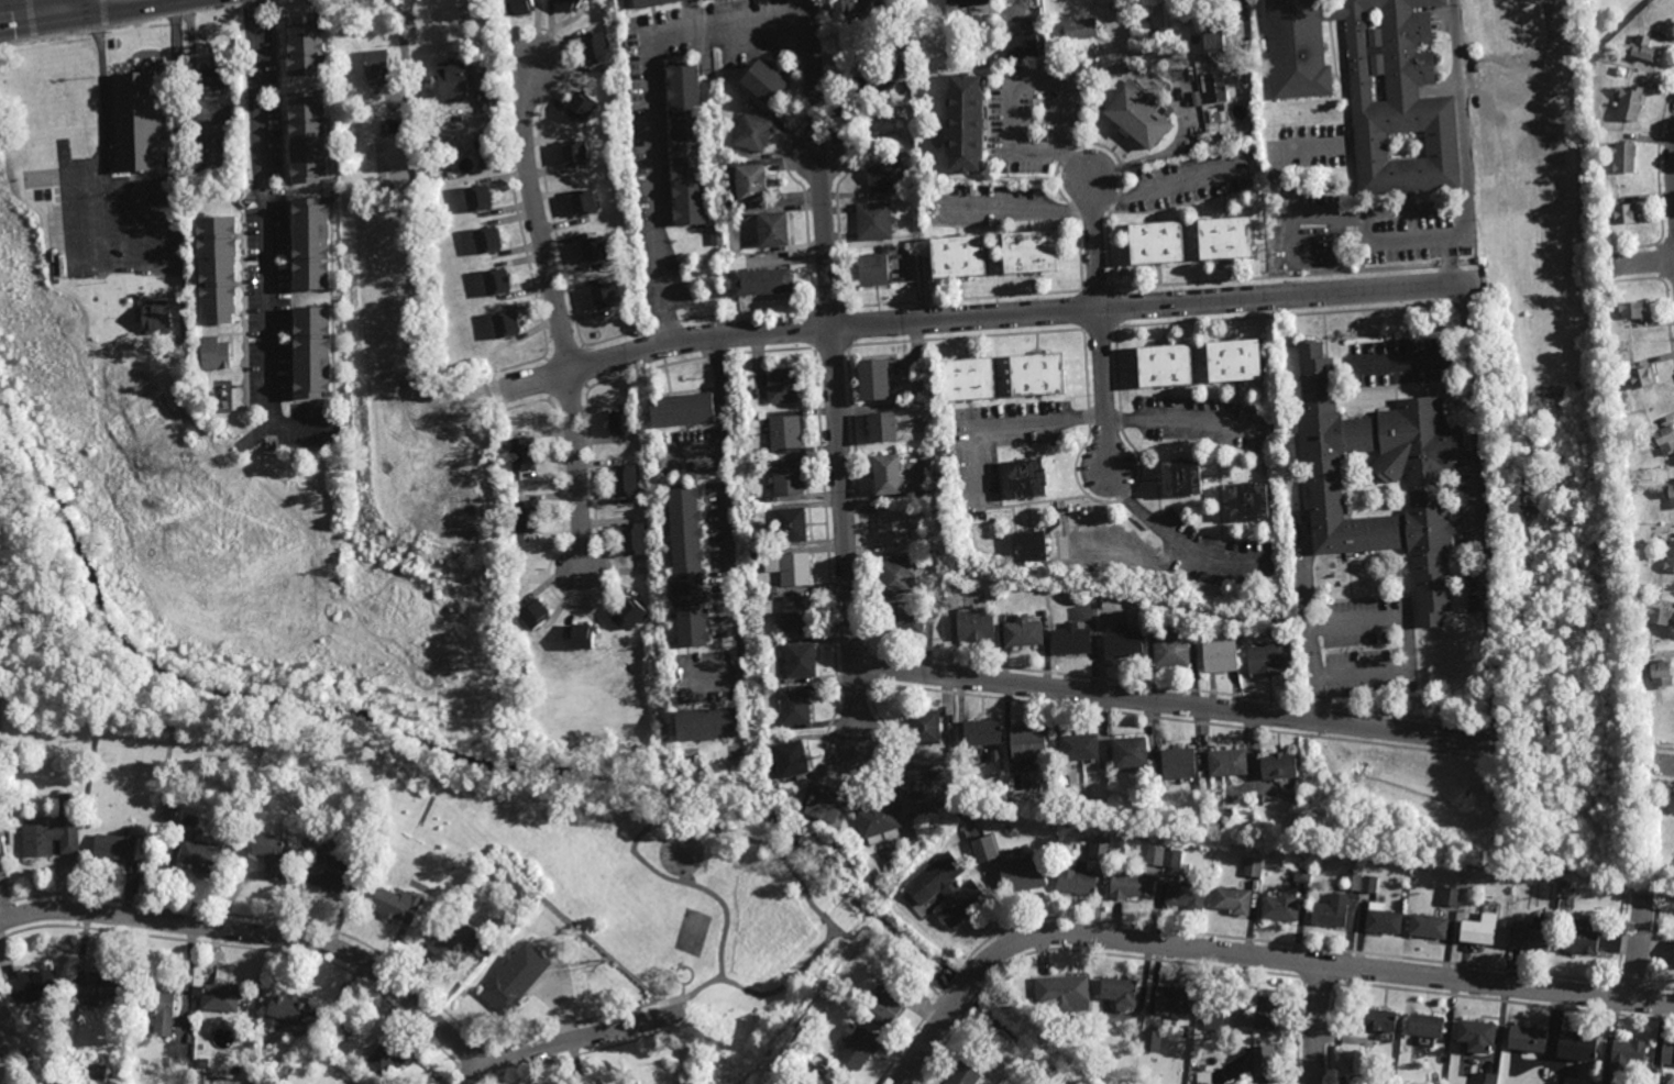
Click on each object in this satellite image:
building: (851, 1)
building: (1103, 2)
road: (95, 3)
building: (647, 3)
building: (966, 3)
road: (65, 4)
road: (67, 4)
building: (564, 4)
building: (517, 8)
road: (1243, 8)
traffic signals: (67, 9)
road: (33, 13)
building: (1515, 21)
building: (1079, 27)
building: (1154, 35)
building: (1213, 38)
building: (1021, 43)
building: (304, 47)
building: (592, 48)
building: (1643, 49)
building: (376, 65)
road: (1532, 66)
building: (213, 78)
building: (487, 78)
road: (889, 79)
road: (1037, 79)
building: (449, 80)
building: (761, 84)
building: (1368, 85)
building: (1213, 86)
road: (1461, 102)
building: (59, 106)
building: (579, 106)
building: (1627, 106)
building: (895, 109)
road: (654, 110)
building: (1219, 112)
building: (1135, 118)
building: (136, 122)
building: (959, 122)
building: (394, 125)
building: (751, 134)
building: (305, 137)
building: (1225, 137)
building: (1212, 139)
building: (1203, 140)
building: (684, 143)
road: (1163, 152)
building: (572, 154)
building: (1621, 159)
road: (817, 163)
building: (883, 175)
road: (140, 180)
building: (748, 185)
building: (1339, 185)
road: (1164, 187)
road: (1288, 191)
building: (476, 199)
building: (581, 203)
road: (1016, 208)
road: (1358, 213)
building: (1623, 214)
building: (872, 221)
road: (1465, 223)
road: (103, 224)
road: (143, 224)
building: (770, 229)
building: (716, 234)
road: (412, 235)
building: (1222, 237)
building: (484, 239)
road: (1289, 239)
road: (263, 241)
building: (1150, 242)
building: (308, 245)
road: (1449, 246)
building: (591, 251)
building: (1026, 252)
road: (1616, 255)
building: (955, 256)
road: (1644, 261)
road: (106, 268)
road: (1449, 268)
road: (1548, 269)
building: (869, 270)
building: (214, 272)
building: (759, 281)
building: (495, 283)
building: (604, 296)
building: (1629, 311)
road: (557, 313)
road: (981, 316)
building: (156, 317)
road: (1100, 323)
building: (504, 327)
building: (184, 344)
building: (308, 353)
building: (213, 355)
road: (1411, 360)
building: (178, 363)
building: (1232, 363)
building: (1164, 366)
building: (1035, 375)
building: (1640, 378)
building: (873, 380)
building: (962, 381)
building: (780, 387)
building: (748, 388)
building: (679, 411)
building: (761, 414)
road: (1176, 422)
building: (620, 423)
road: (1012, 423)
building: (879, 429)
building: (784, 433)
building: (1663, 440)
building: (763, 451)
road: (698, 453)
building: (519, 456)
building: (753, 462)
building: (884, 476)
building: (623, 479)
building: (1024, 479)
building: (1179, 479)
building: (785, 480)
building: (1381, 480)
building: (1669, 496)
building: (749, 497)
building: (1246, 504)
road: (1483, 512)
building: (525, 519)
building: (789, 526)
building: (891, 528)
road: (730, 531)
road: (844, 533)
road: (1168, 537)
building: (631, 541)
building: (1028, 547)
building: (929, 553)
building: (1669, 558)
building: (684, 566)
building: (1127, 568)
building: (792, 571)
building: (893, 577)
building: (1062, 591)
building: (628, 612)
building: (1044, 612)
building: (530, 613)
building: (795, 615)
building: (1189, 615)
building: (1658, 617)
building: (902, 622)
road: (1308, 623)
building: (973, 626)
building: (775, 632)
building: (1021, 633)
building: (576, 638)
building: (1070, 641)
building: (1121, 642)
road: (1408, 644)
building: (1169, 651)
building: (1219, 657)
building: (1266, 657)
building: (797, 660)
building: (1659, 675)
building: (771, 679)
road: (1177, 703)
building: (792, 709)
building: (704, 724)
building: (923, 727)
building: (979, 733)
building: (1025, 743)
building: (1077, 749)
building: (1127, 753)
building: (995, 757)
building: (789, 760)
building: (1225, 763)
road: (1661, 764)
building: (1176, 765)
building: (1277, 766)
building: (915, 777)
building: (822, 805)
building: (1, 809)
building: (169, 811)
building: (877, 821)
building: (235, 826)
road: (657, 827)
building: (57, 831)
building: (120, 848)
building: (984, 849)
building: (274, 854)
building: (1164, 856)
building: (205, 858)
building: (1253, 866)
building: (330, 873)
building: (1021, 874)
building: (1302, 874)
building: (1073, 877)
building: (454, 880)
building: (1361, 882)
park: (649, 884)
building: (1128, 886)
building: (946, 891)
building: (1183, 896)
building: (1451, 896)
building: (1232, 902)
building: (403, 904)
building: (1281, 907)
building: (1331, 911)
building: (1383, 920)
building: (1427, 927)
building: (1477, 931)
road: (261, 932)
park: (693, 933)
building: (1528, 936)
building: (1579, 939)
building: (458, 942)
road: (1637, 947)
road: (1253, 952)
road: (894, 954)
building: (521, 956)
building: (1673, 960)
building: (32, 984)
road: (786, 986)
building: (97, 988)
building: (1061, 993)
building: (1119, 993)
building: (505, 994)
building: (223, 999)
building: (1169, 1004)
building: (886, 1006)
building: (159, 1009)
road: (637, 1009)
building: (287, 1014)
building: (348, 1015)
building: (1264, 1015)
building: (1213, 1020)
road: (1315, 1021)
building: (1379, 1022)
building: (1423, 1029)
building: (802, 1031)
building: (1474, 1037)
building: (1526, 1040)
road: (571, 1041)
building: (1152, 1041)
building: (856, 1047)
building: (1575, 1048)
building: (1627, 1052)
building: (1667, 1055)
building: (390, 1057)
building: (27, 1060)
building: (203, 1062)
building: (1258, 1062)
building: (993, 1064)
building: (154, 1071)
building: (1655, 1075)
road: (448, 1076)
building: (828, 1076)
building: (961, 1076)
building: (1203, 1077)
building: (1484, 1077)
building: (265, 1079)
building: (1363, 1081)
building: (352, 1083)
building: (623, 1083)

